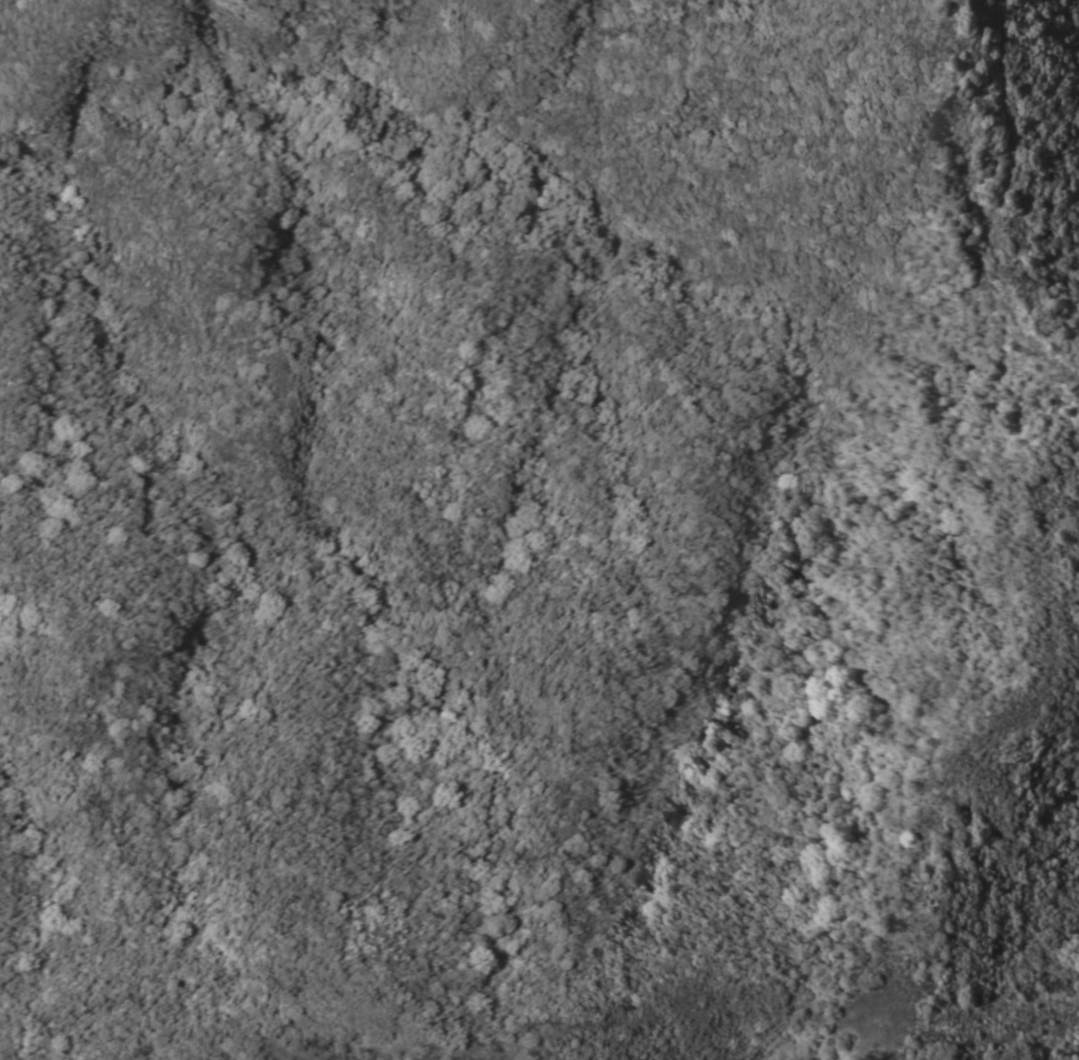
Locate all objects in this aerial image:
road: (992, 203)

